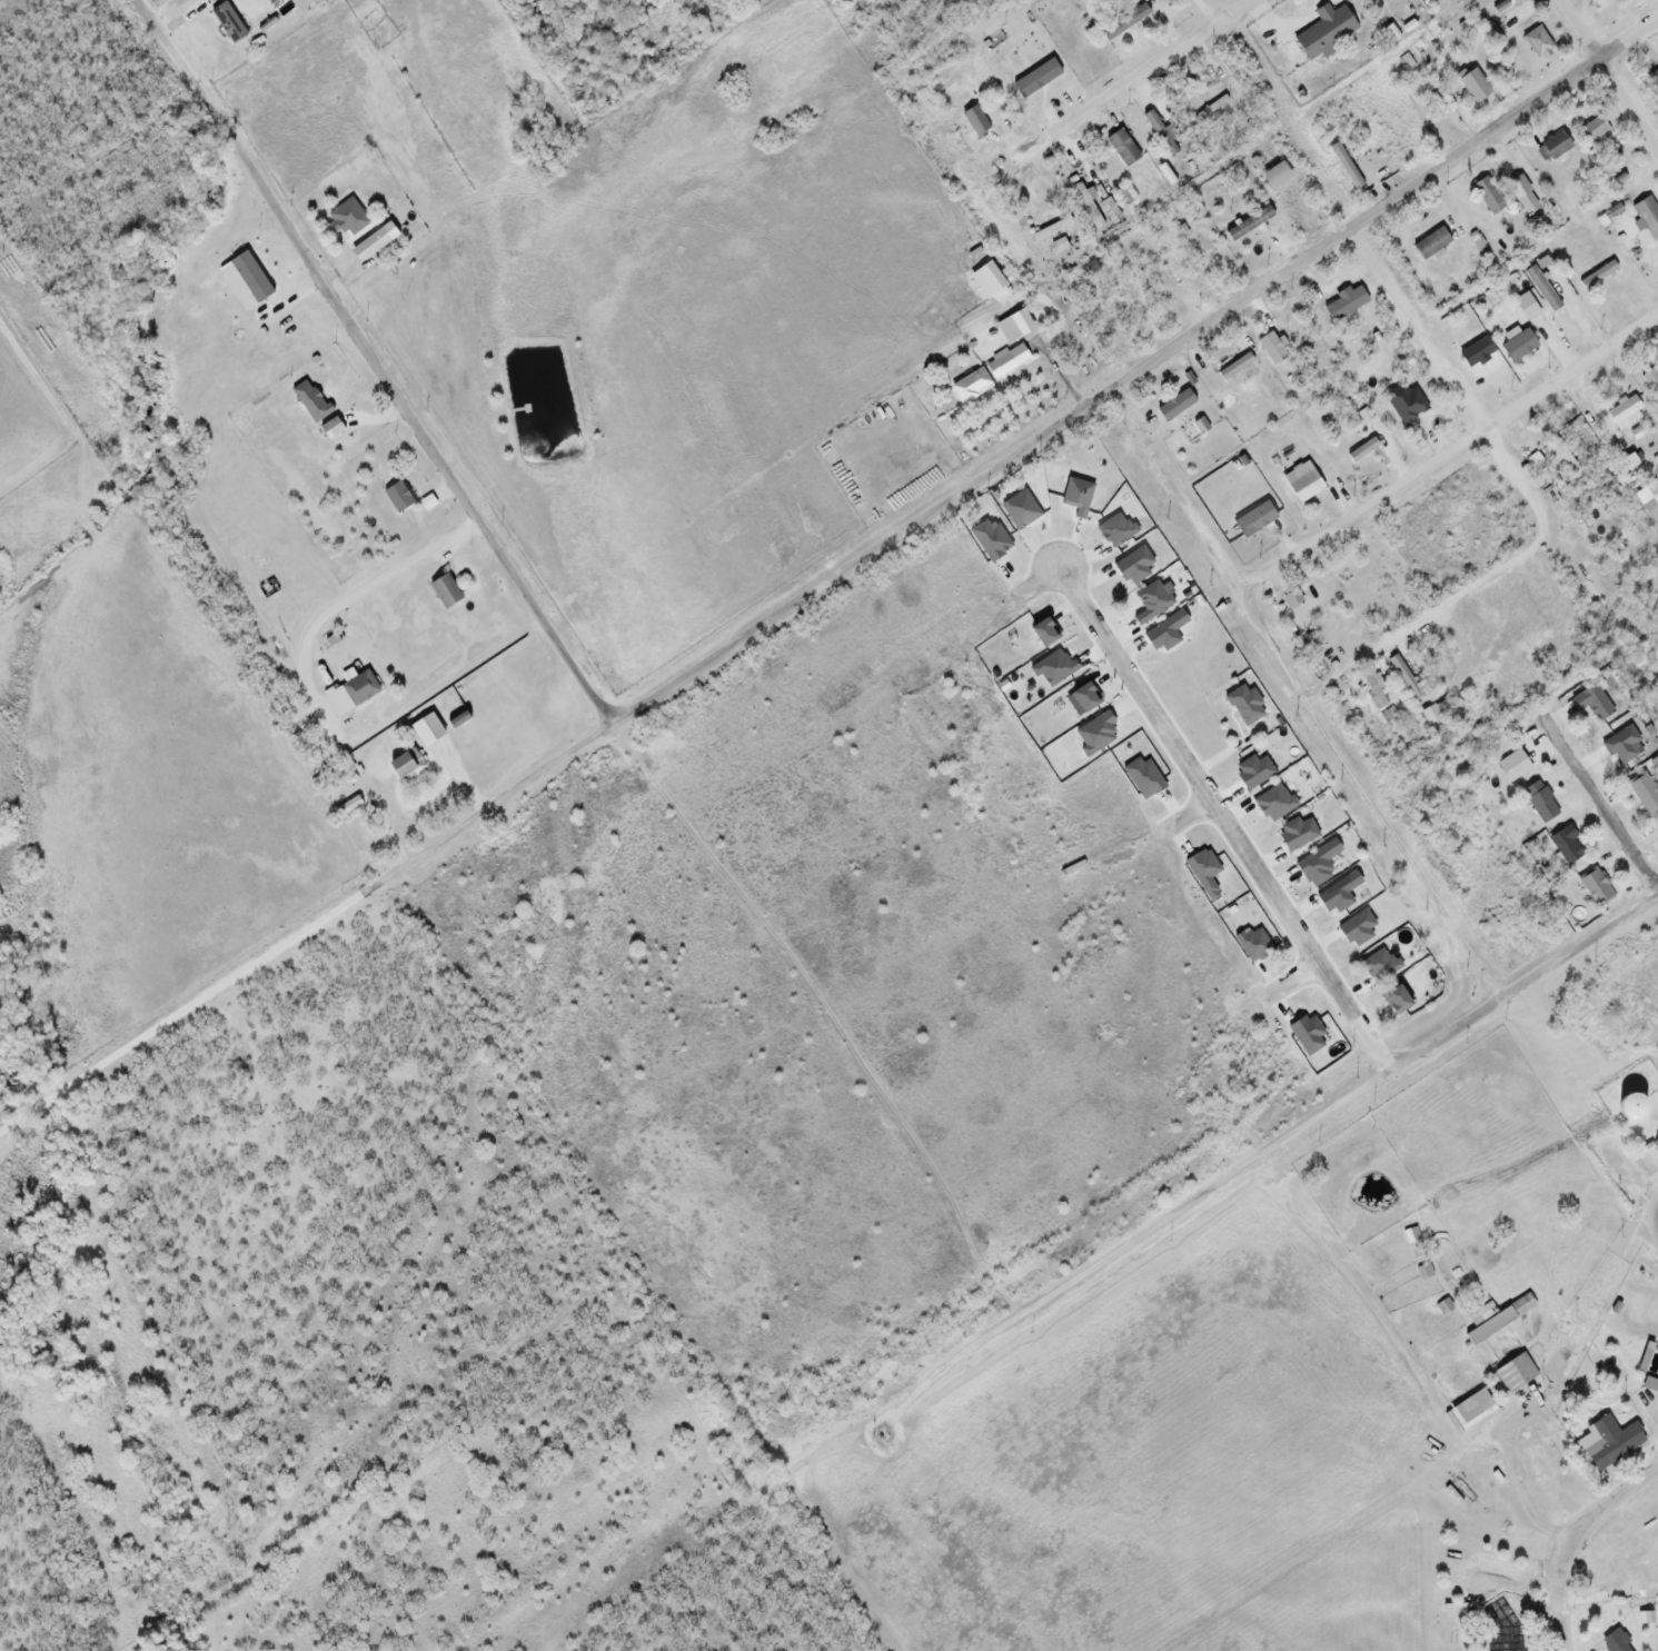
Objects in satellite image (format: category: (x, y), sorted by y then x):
building: (1143, 0)
road: (1209, 13)
building: (1323, 32)
road: (1610, 72)
road: (1138, 79)
building: (1654, 79)
building: (1472, 86)
building: (976, 127)
building: (1594, 130)
building: (1120, 148)
building: (1551, 148)
building: (1344, 168)
building: (1272, 177)
building: (1521, 195)
building: (1488, 197)
building: (1086, 207)
building: (1108, 212)
building: (1647, 218)
building: (339, 226)
building: (1050, 231)
building: (367, 246)
building: (1154, 271)
building: (248, 278)
building: (1577, 280)
building: (1540, 290)
building: (1343, 305)
building: (1005, 331)
building: (1316, 355)
road: (377, 360)
building: (1004, 362)
road: (1136, 372)
building: (1651, 381)
building: (969, 386)
building: (1622, 418)
building: (328, 429)
crop: (585, 430)
road: (1450, 456)
road: (1656, 466)
building: (1301, 483)
road: (1174, 494)
road: (1531, 500)
building: (443, 591)
building: (1290, 598)
building: (1403, 678)
building: (357, 689)
building: (1624, 746)
building: (403, 766)
building: (1511, 766)
road: (364, 785)
building: (1644, 793)
road: (1368, 799)
building: (1538, 802)
road: (1599, 806)
road: (1227, 818)
building: (1656, 832)
building: (1562, 847)
building: (1594, 889)
road: (307, 928)
road: (1298, 979)
road: (1526, 983)
building: (1590, 1056)
road: (1654, 1201)
road: (1655, 1221)
building: (1410, 1236)
road: (1134, 1241)
building: (1488, 1326)
building: (1513, 1374)
building: (1649, 1386)
building: (1469, 1410)
building: (1609, 1442)
road: (1526, 1498)
road: (1581, 1525)
building: (1615, 1560)
road: (1565, 1632)
building: (1506, 1641)
building: (1611, 1643)

